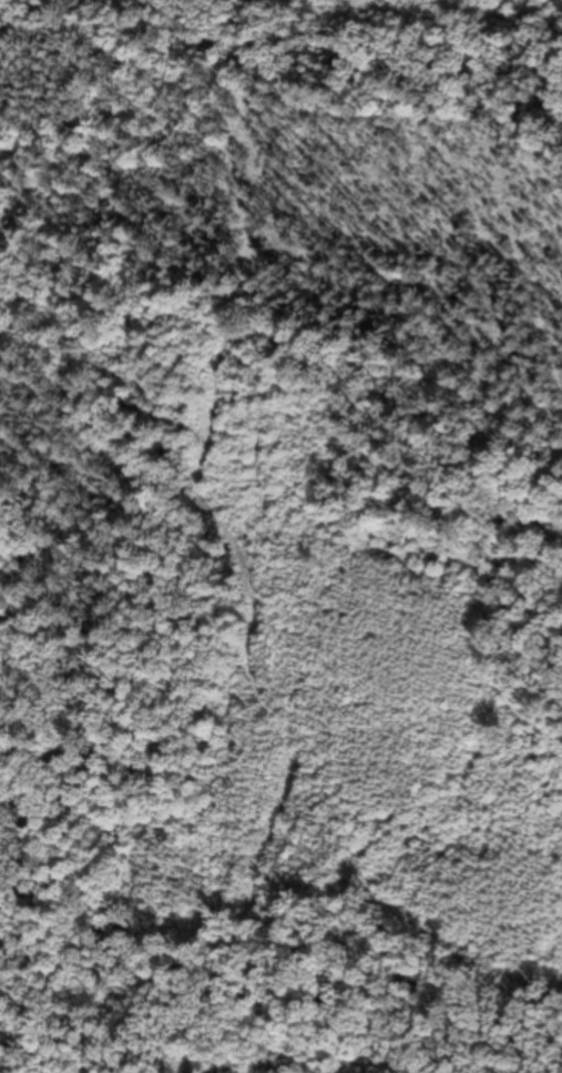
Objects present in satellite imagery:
park: (280, 536)

